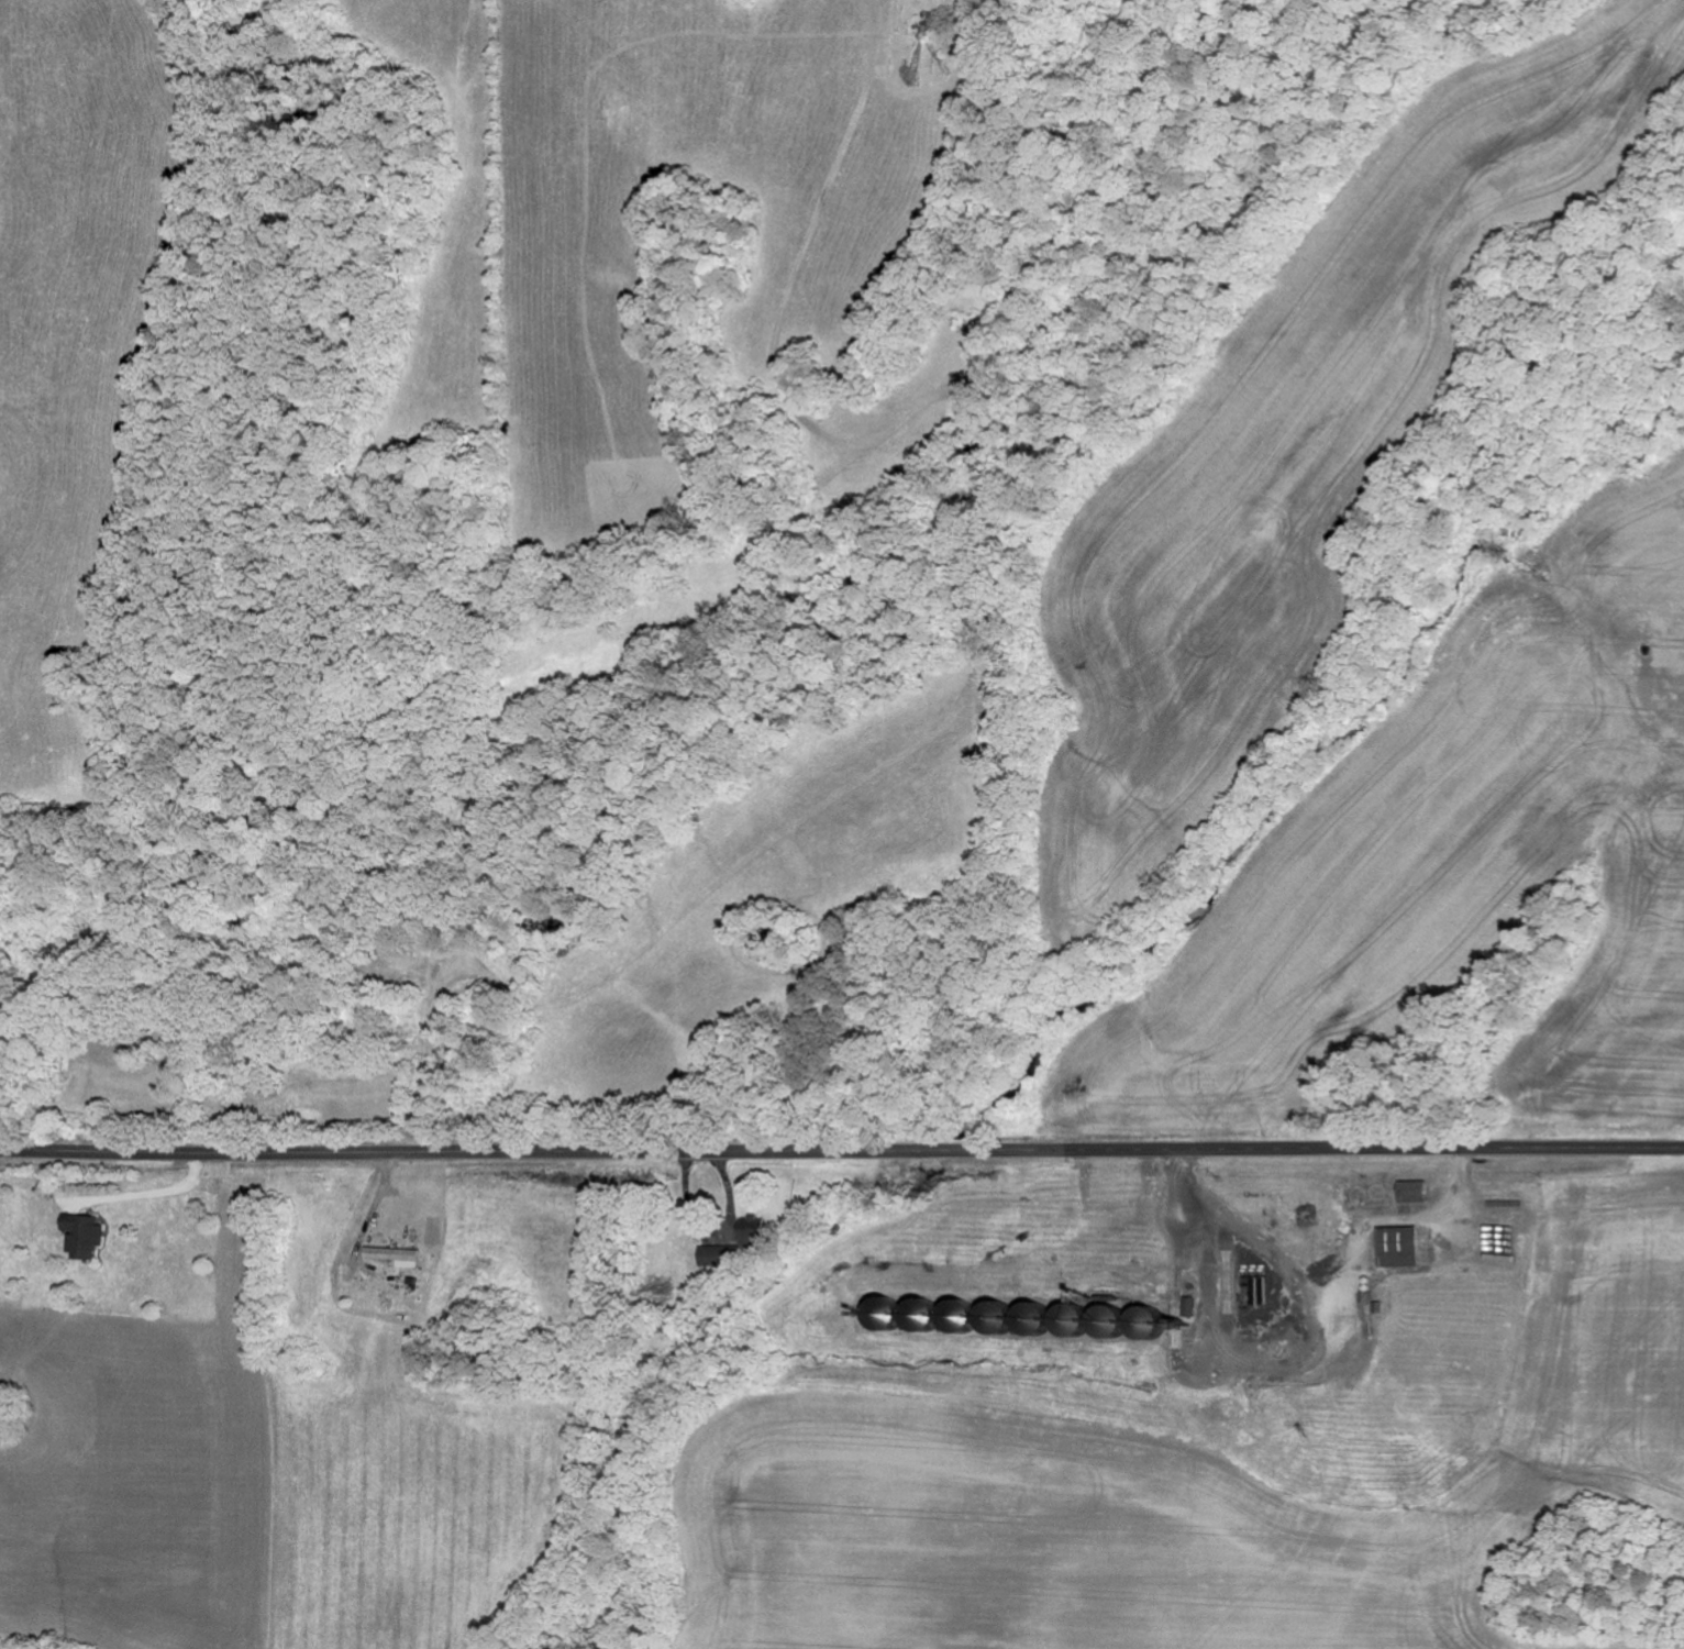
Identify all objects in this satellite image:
road: (841, 1151)
building: (81, 1236)
building: (370, 1254)
building: (403, 1258)

